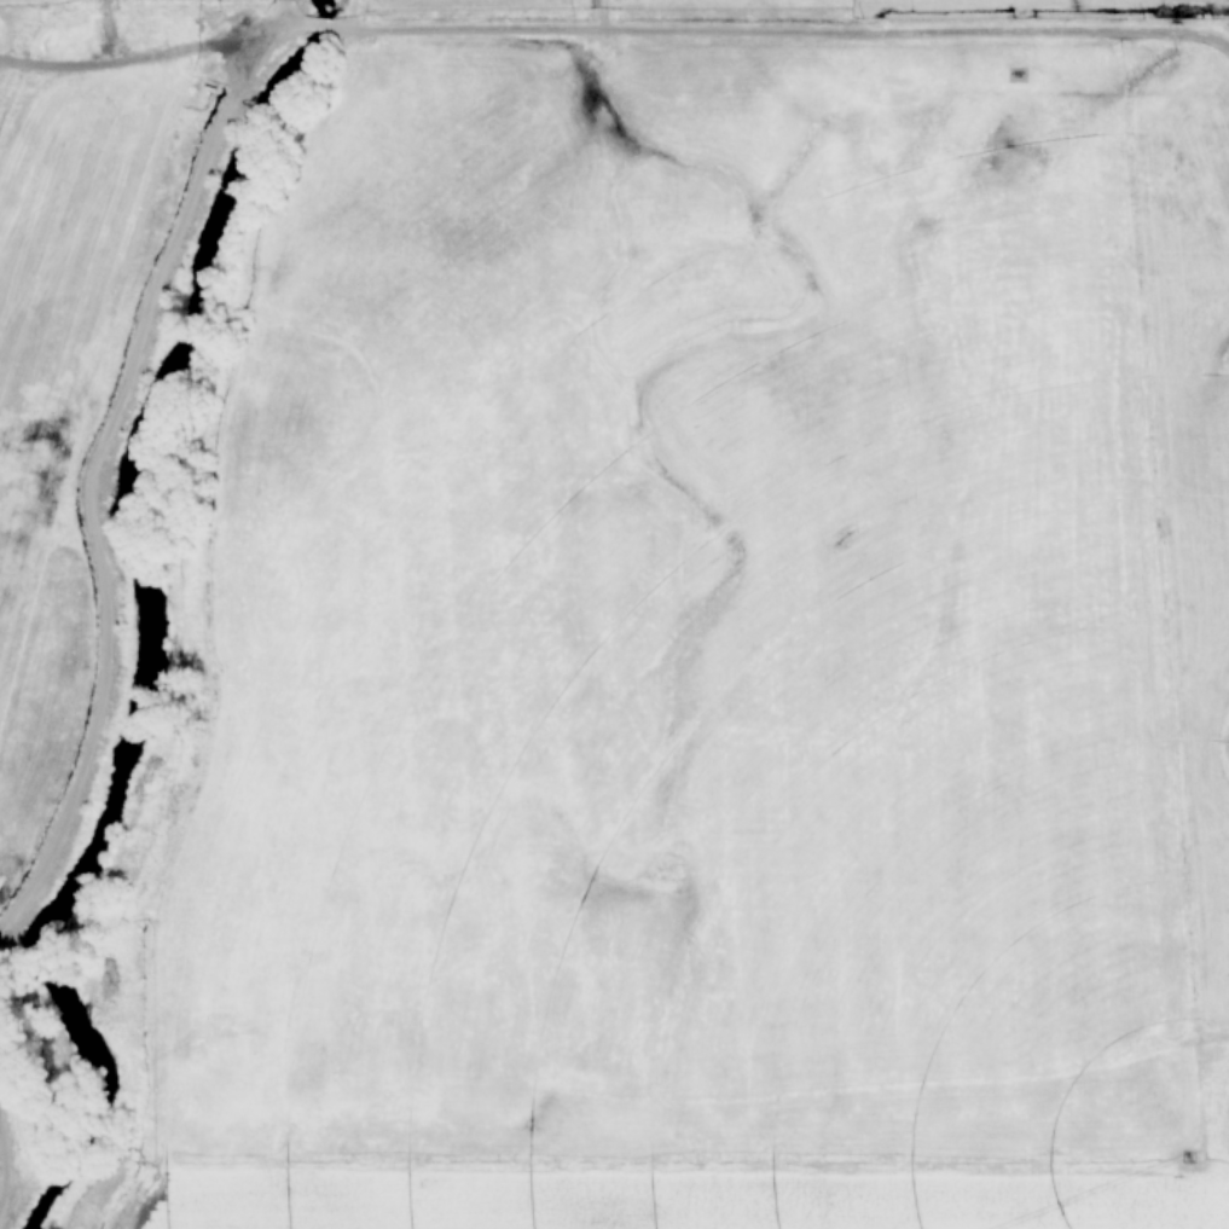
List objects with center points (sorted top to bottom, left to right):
river: (140, 609)

